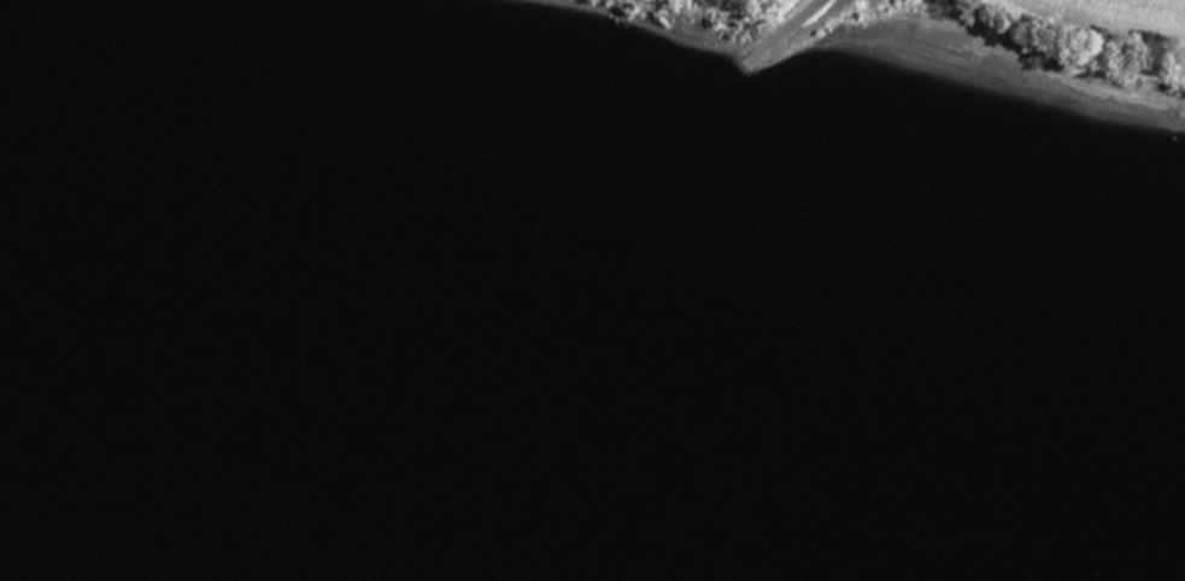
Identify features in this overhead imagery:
river: (592, 378)

